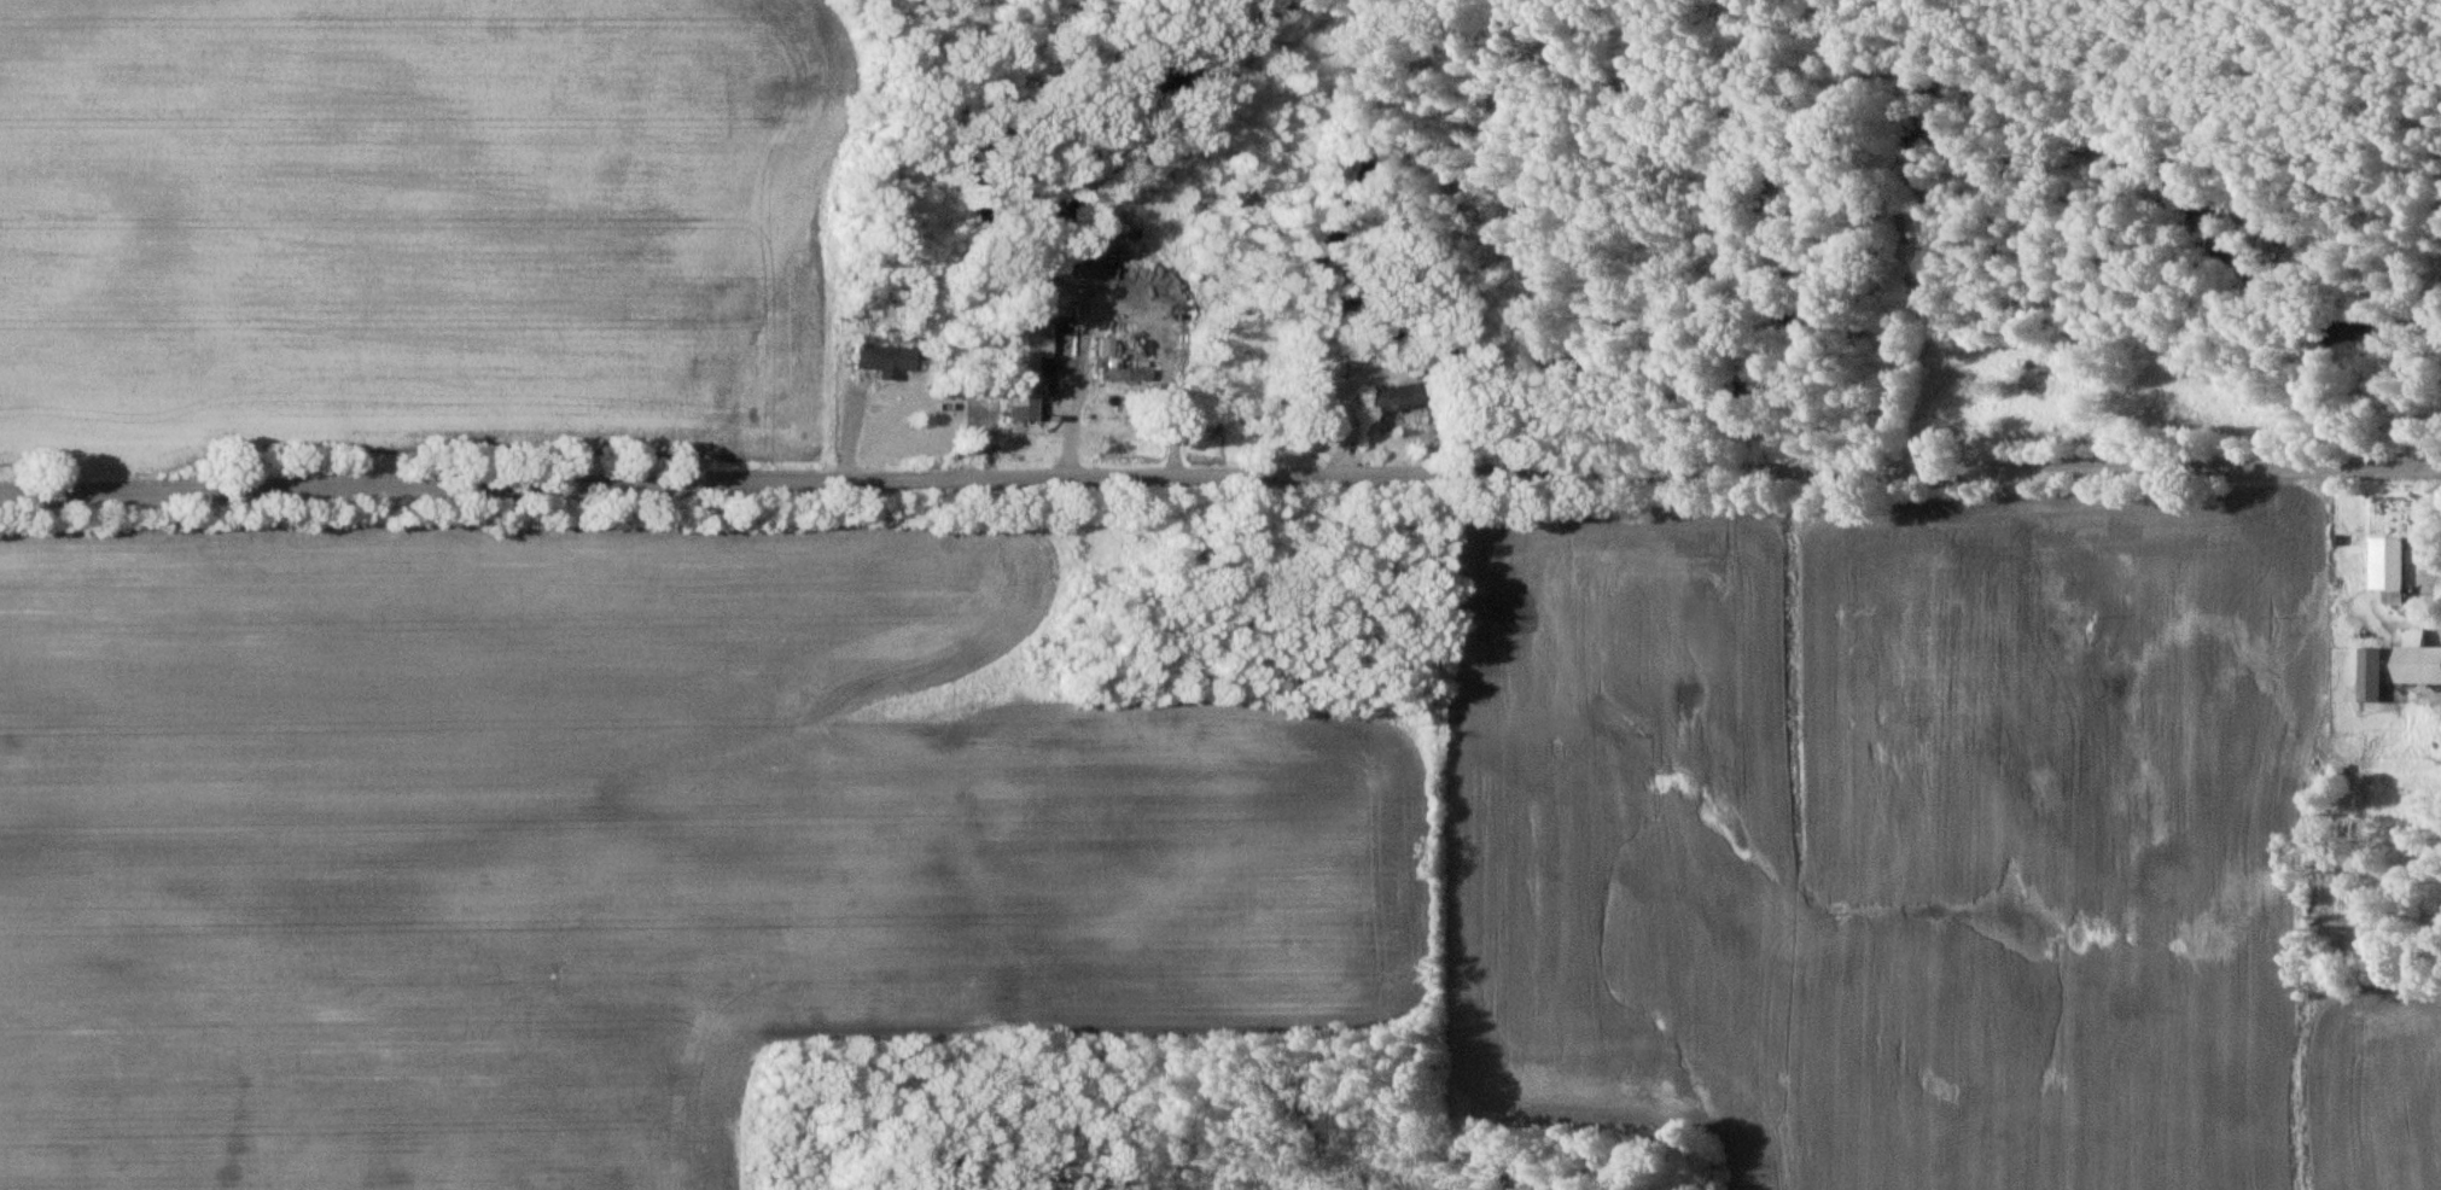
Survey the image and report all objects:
building: (880, 360)
building: (1026, 368)
building: (1391, 398)
road: (1074, 436)
road: (1220, 480)
building: (2388, 567)
building: (2423, 659)
building: (2372, 675)

